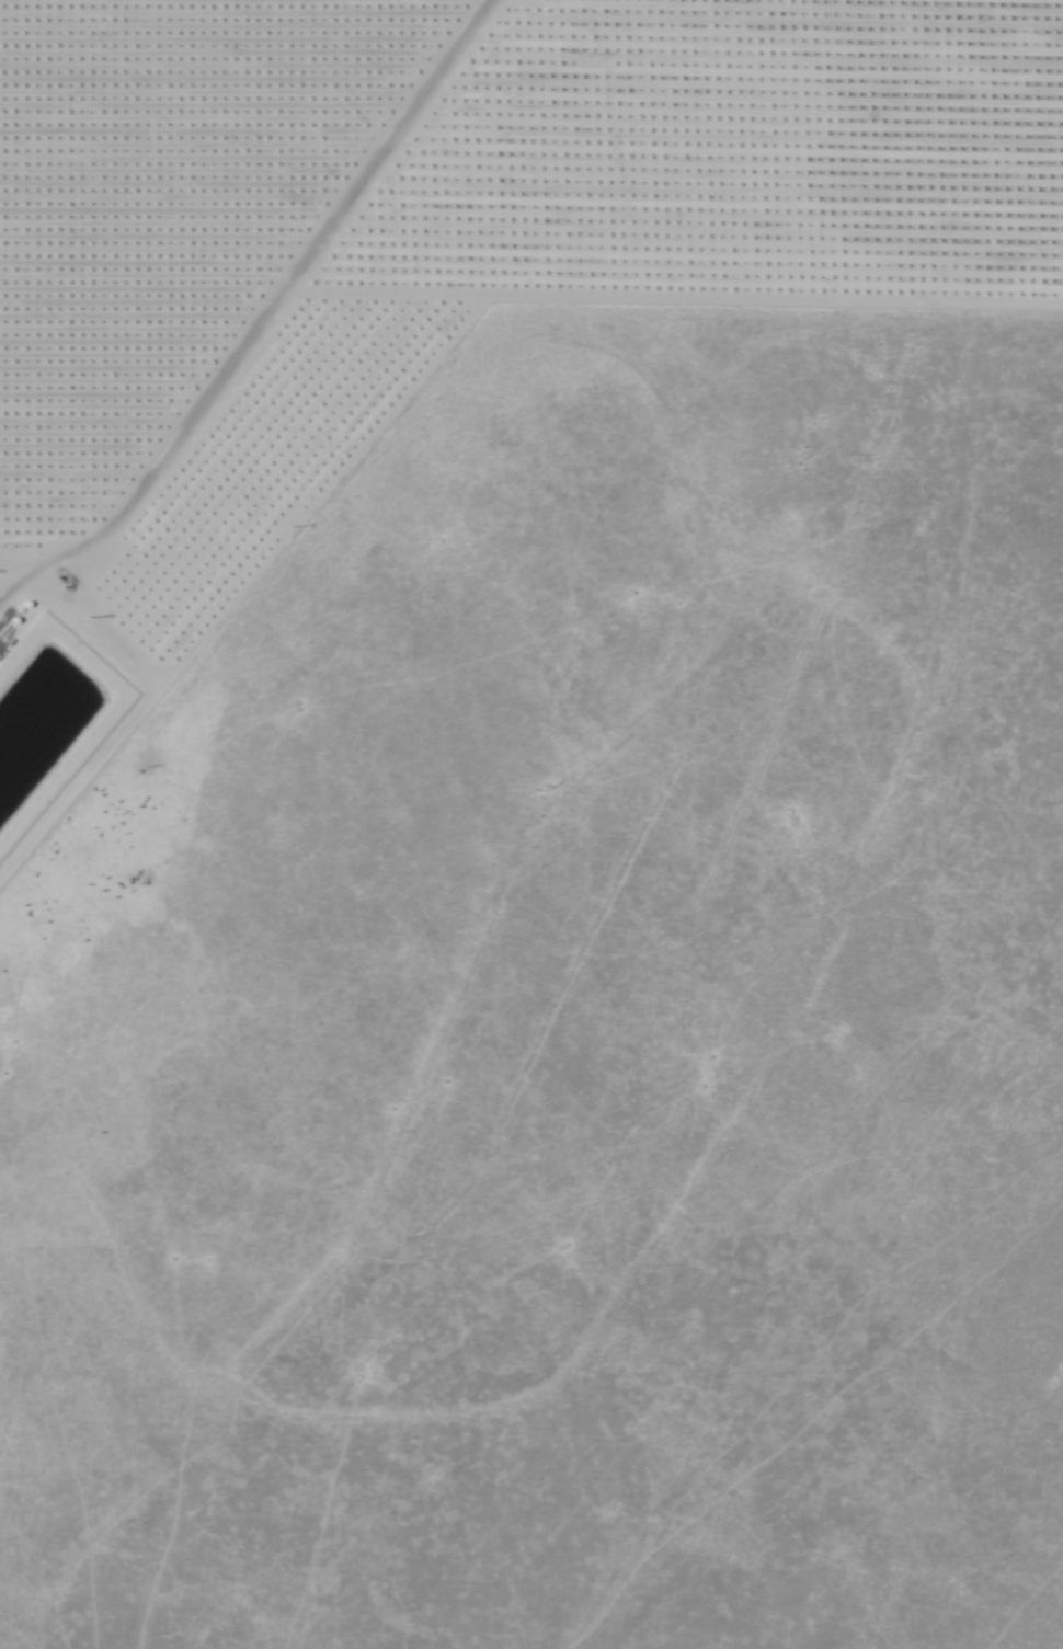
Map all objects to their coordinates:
crop: (483, 178)
crop: (277, 457)

